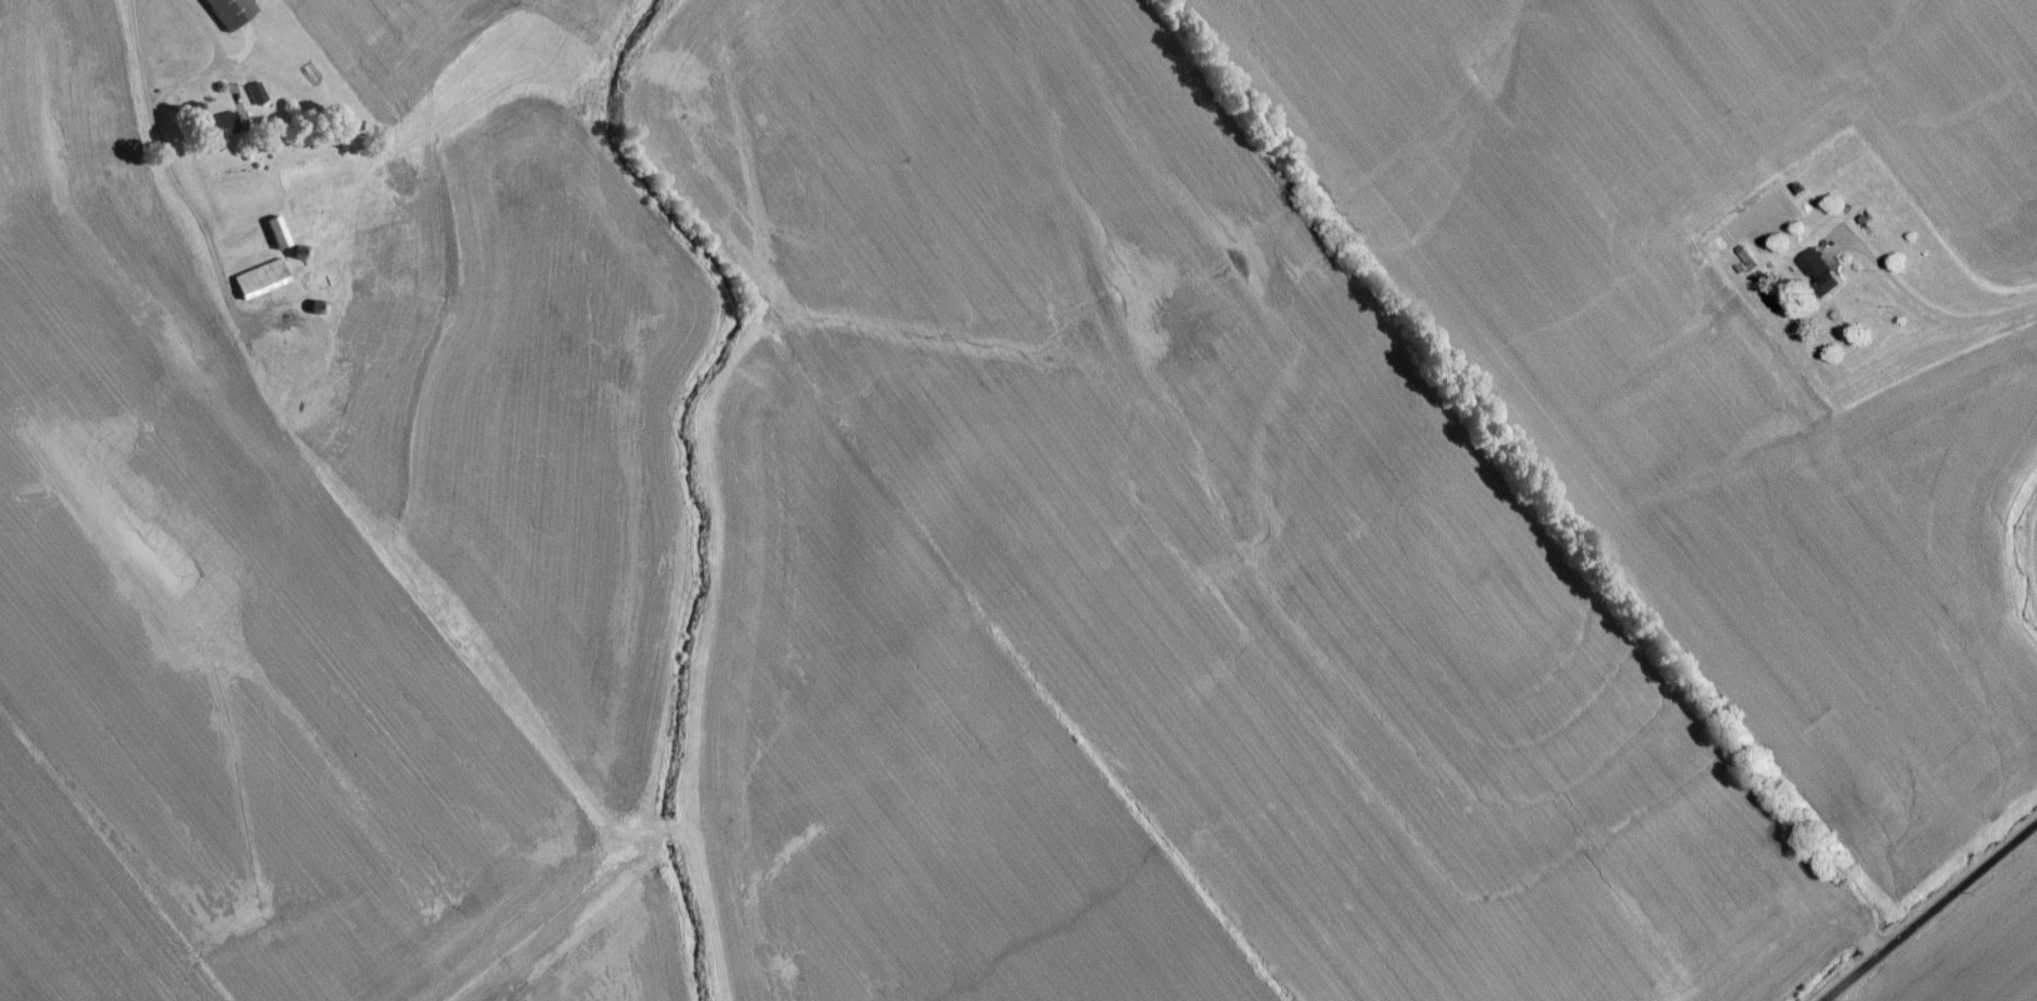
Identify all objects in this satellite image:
building: (227, 14)
road: (239, 50)
building: (257, 98)
building: (217, 132)
building: (399, 176)
building: (276, 237)
building: (1820, 277)
road: (1943, 278)
building: (259, 284)
building: (306, 417)
road: (1919, 905)

